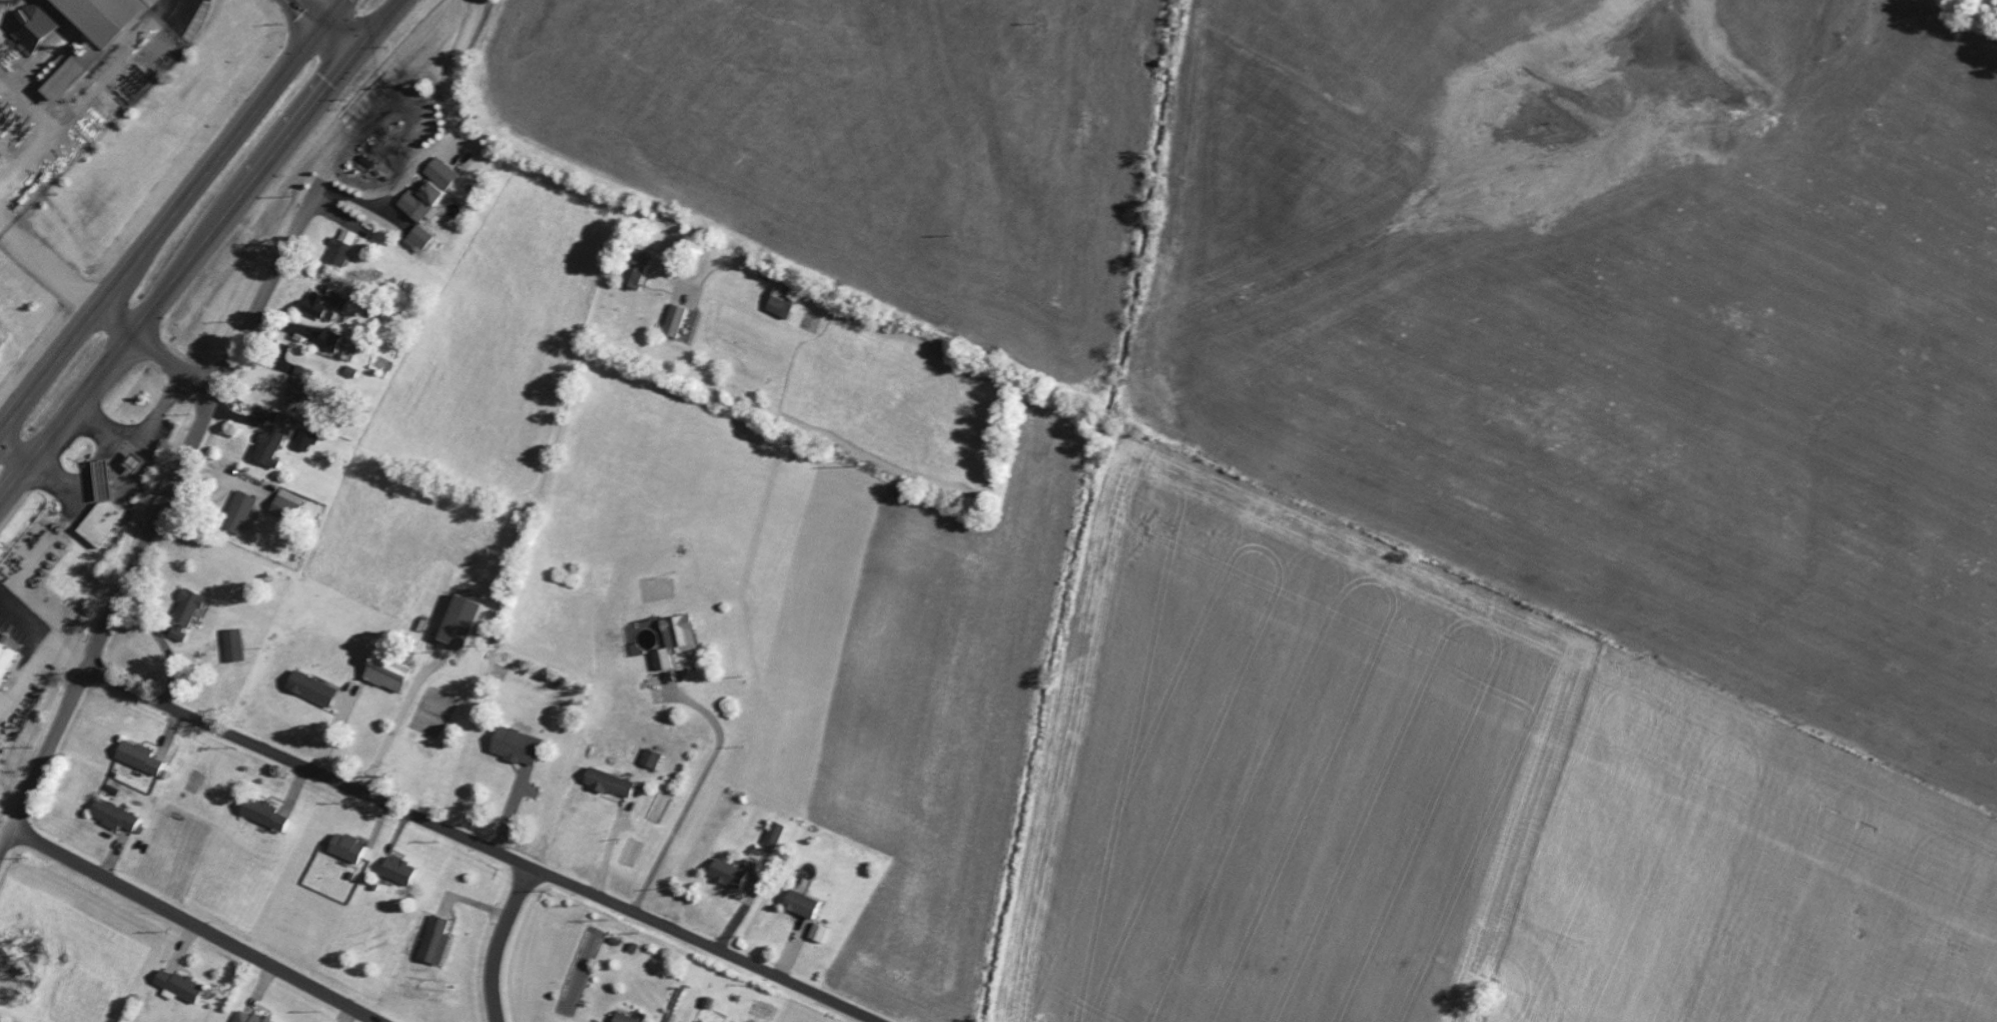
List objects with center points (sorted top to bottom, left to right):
building: (32, 26)
road: (325, 28)
building: (88, 35)
road: (90, 96)
road: (497, 149)
building: (427, 189)
road: (168, 212)
building: (420, 236)
building: (341, 247)
road: (200, 251)
road: (47, 266)
building: (634, 268)
road: (696, 278)
building: (781, 301)
building: (328, 304)
building: (673, 320)
building: (328, 340)
road: (156, 346)
building: (296, 387)
building: (305, 439)
building: (267, 446)
road: (16, 454)
building: (286, 503)
building: (99, 508)
building: (237, 512)
road: (156, 518)
building: (183, 613)
building: (456, 621)
building: (674, 640)
building: (231, 645)
road: (42, 647)
building: (6, 652)
building: (385, 673)
building: (310, 688)
road: (394, 731)
building: (514, 745)
building: (136, 757)
building: (650, 758)
building: (607, 781)
road: (698, 789)
road: (9, 805)
building: (262, 813)
building: (112, 815)
building: (774, 832)
road: (482, 845)
building: (346, 847)
building: (396, 869)
building: (725, 871)
building: (799, 902)
road: (193, 925)
building: (818, 931)
road: (496, 940)
building: (432, 942)
building: (177, 985)
building: (247, 1016)
building: (623, 1017)

